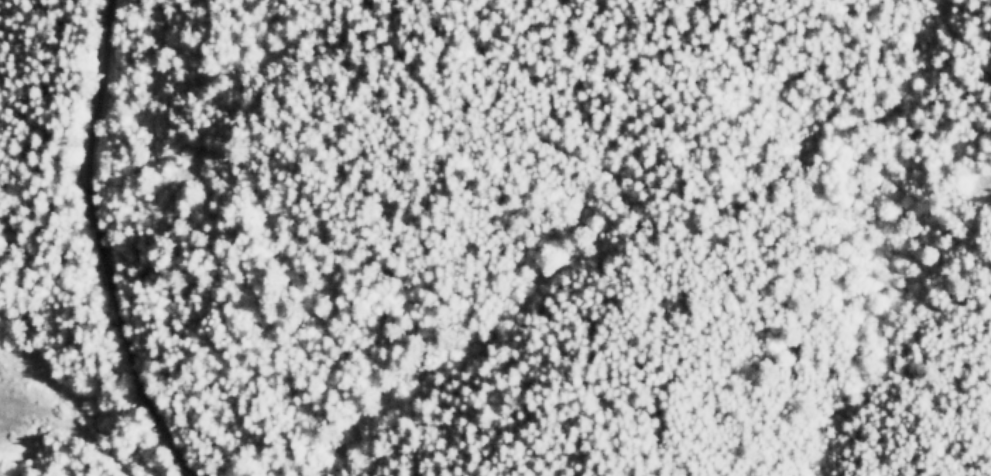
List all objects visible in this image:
road: (104, 248)

